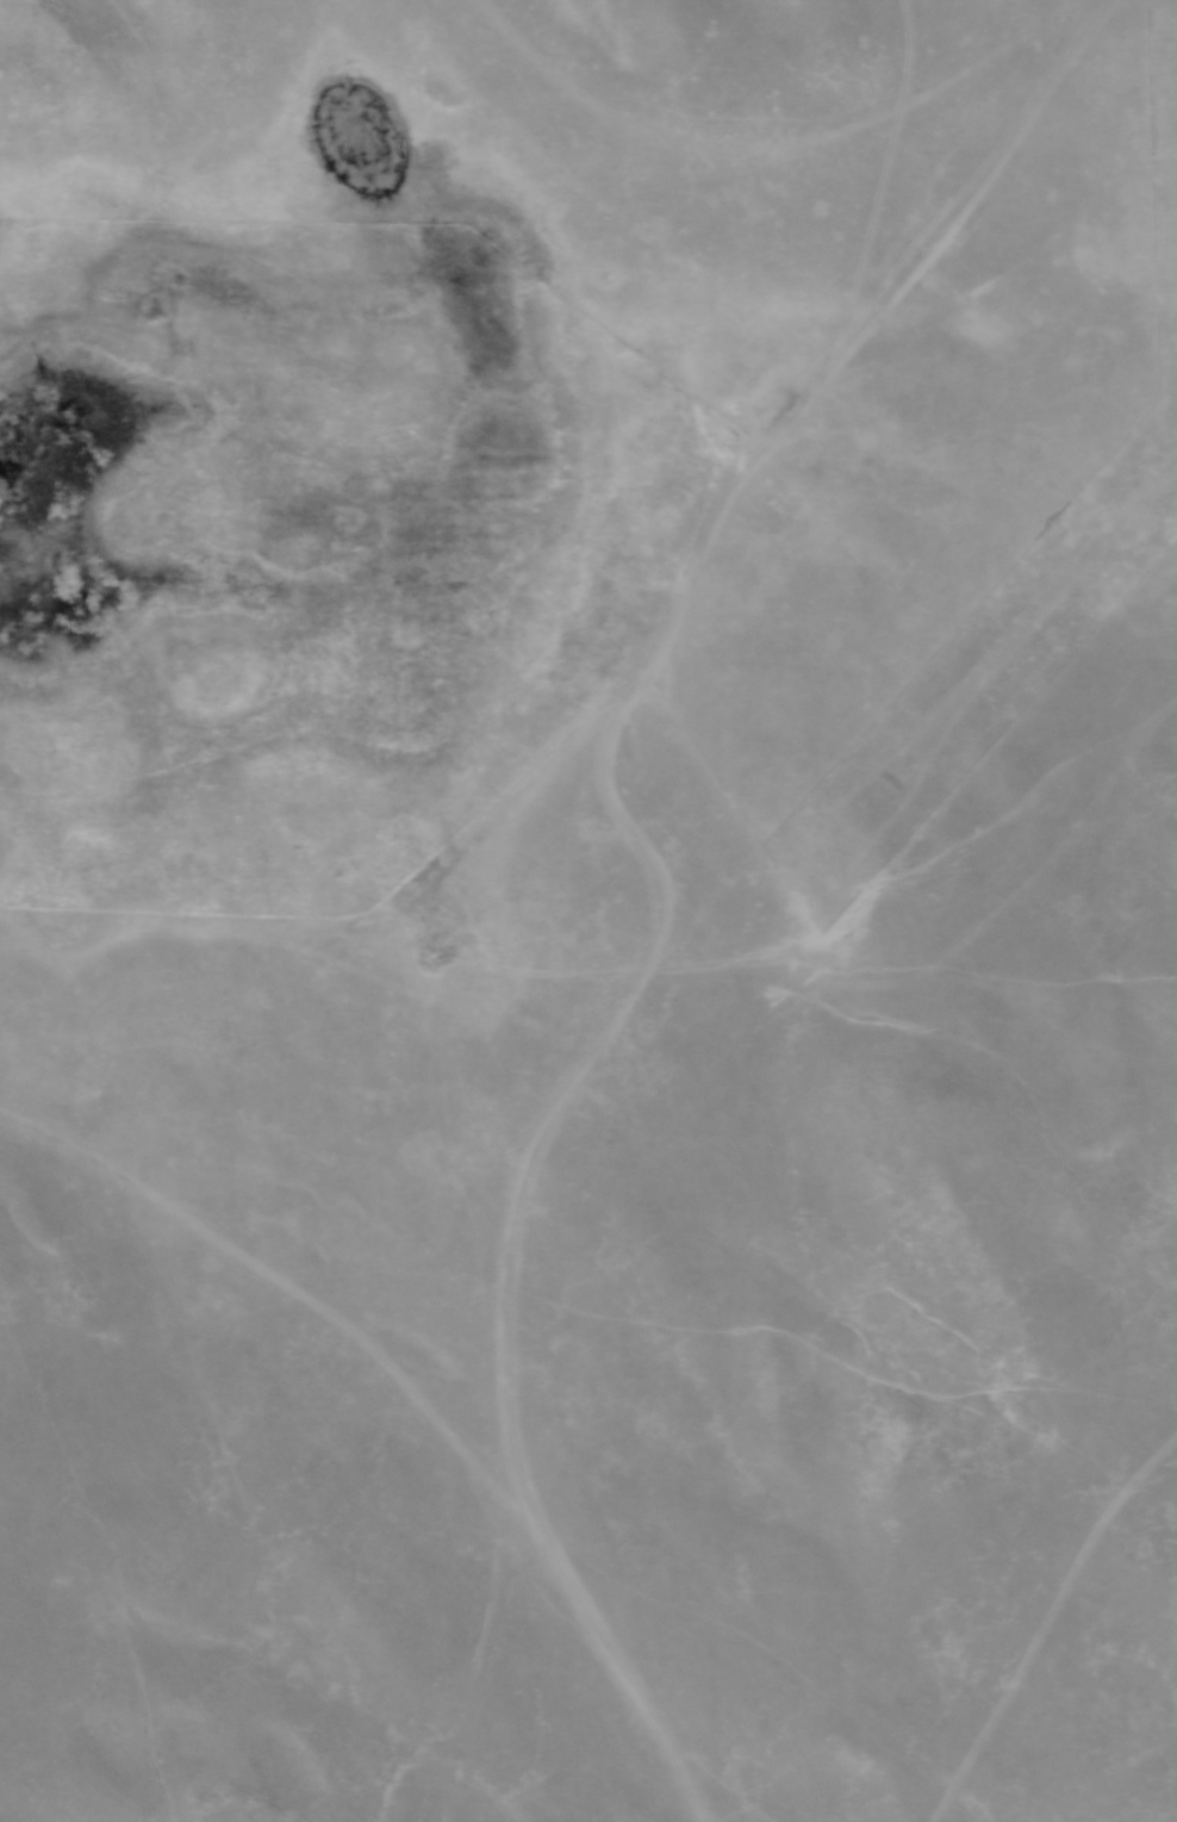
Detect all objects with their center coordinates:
airport runway: (1055, 596)

